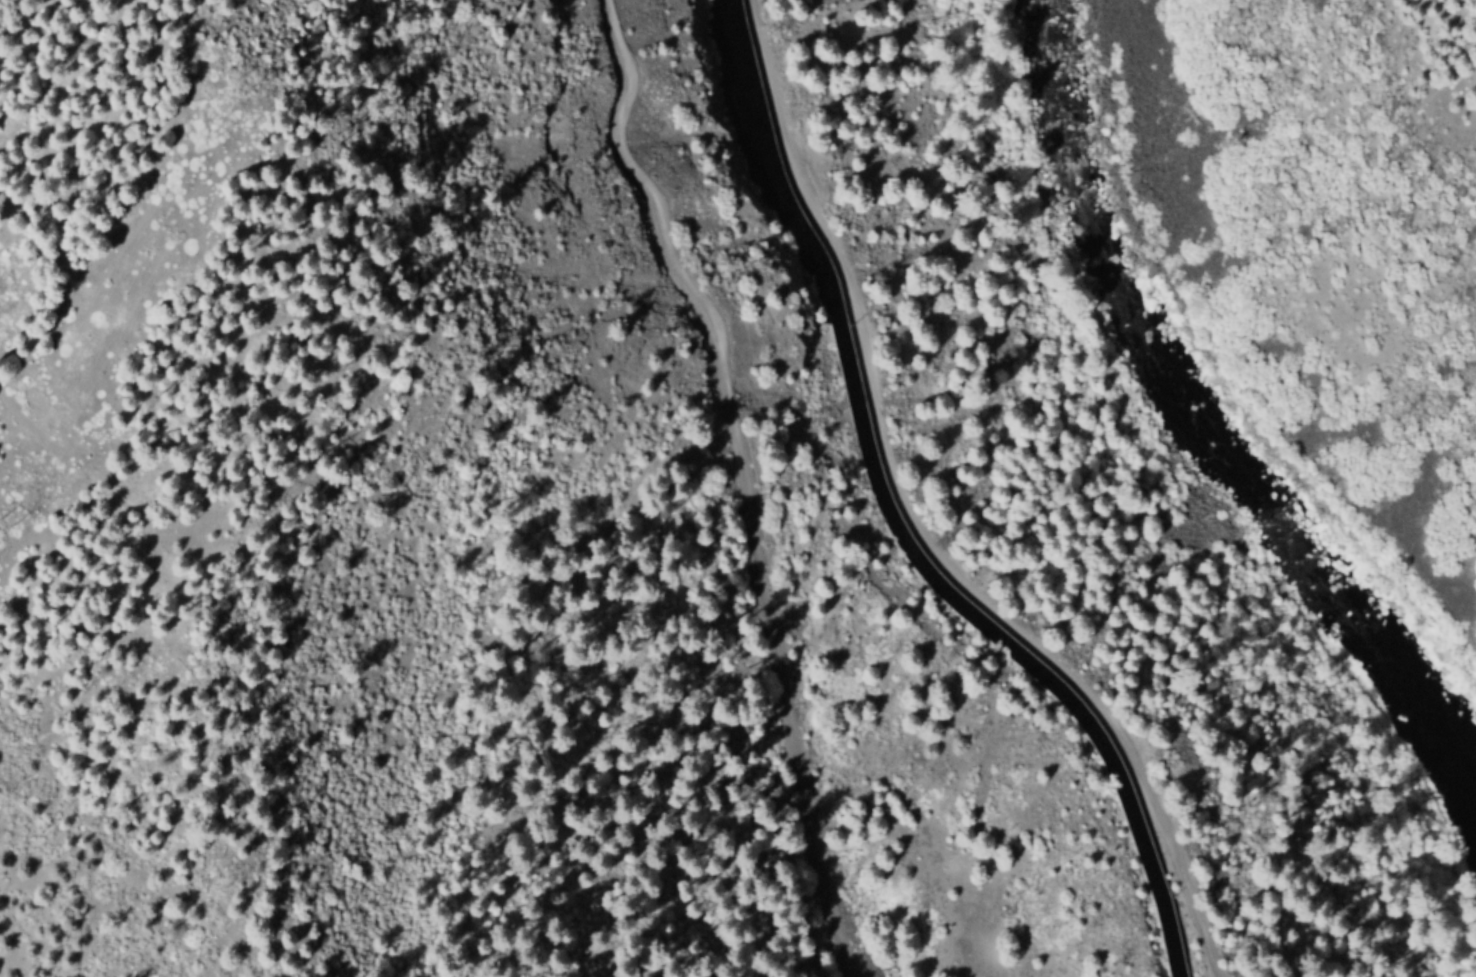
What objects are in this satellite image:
power tower: (242, 74)
river: (1206, 417)
road: (750, 476)
power tower: (9, 519)
road: (917, 523)

